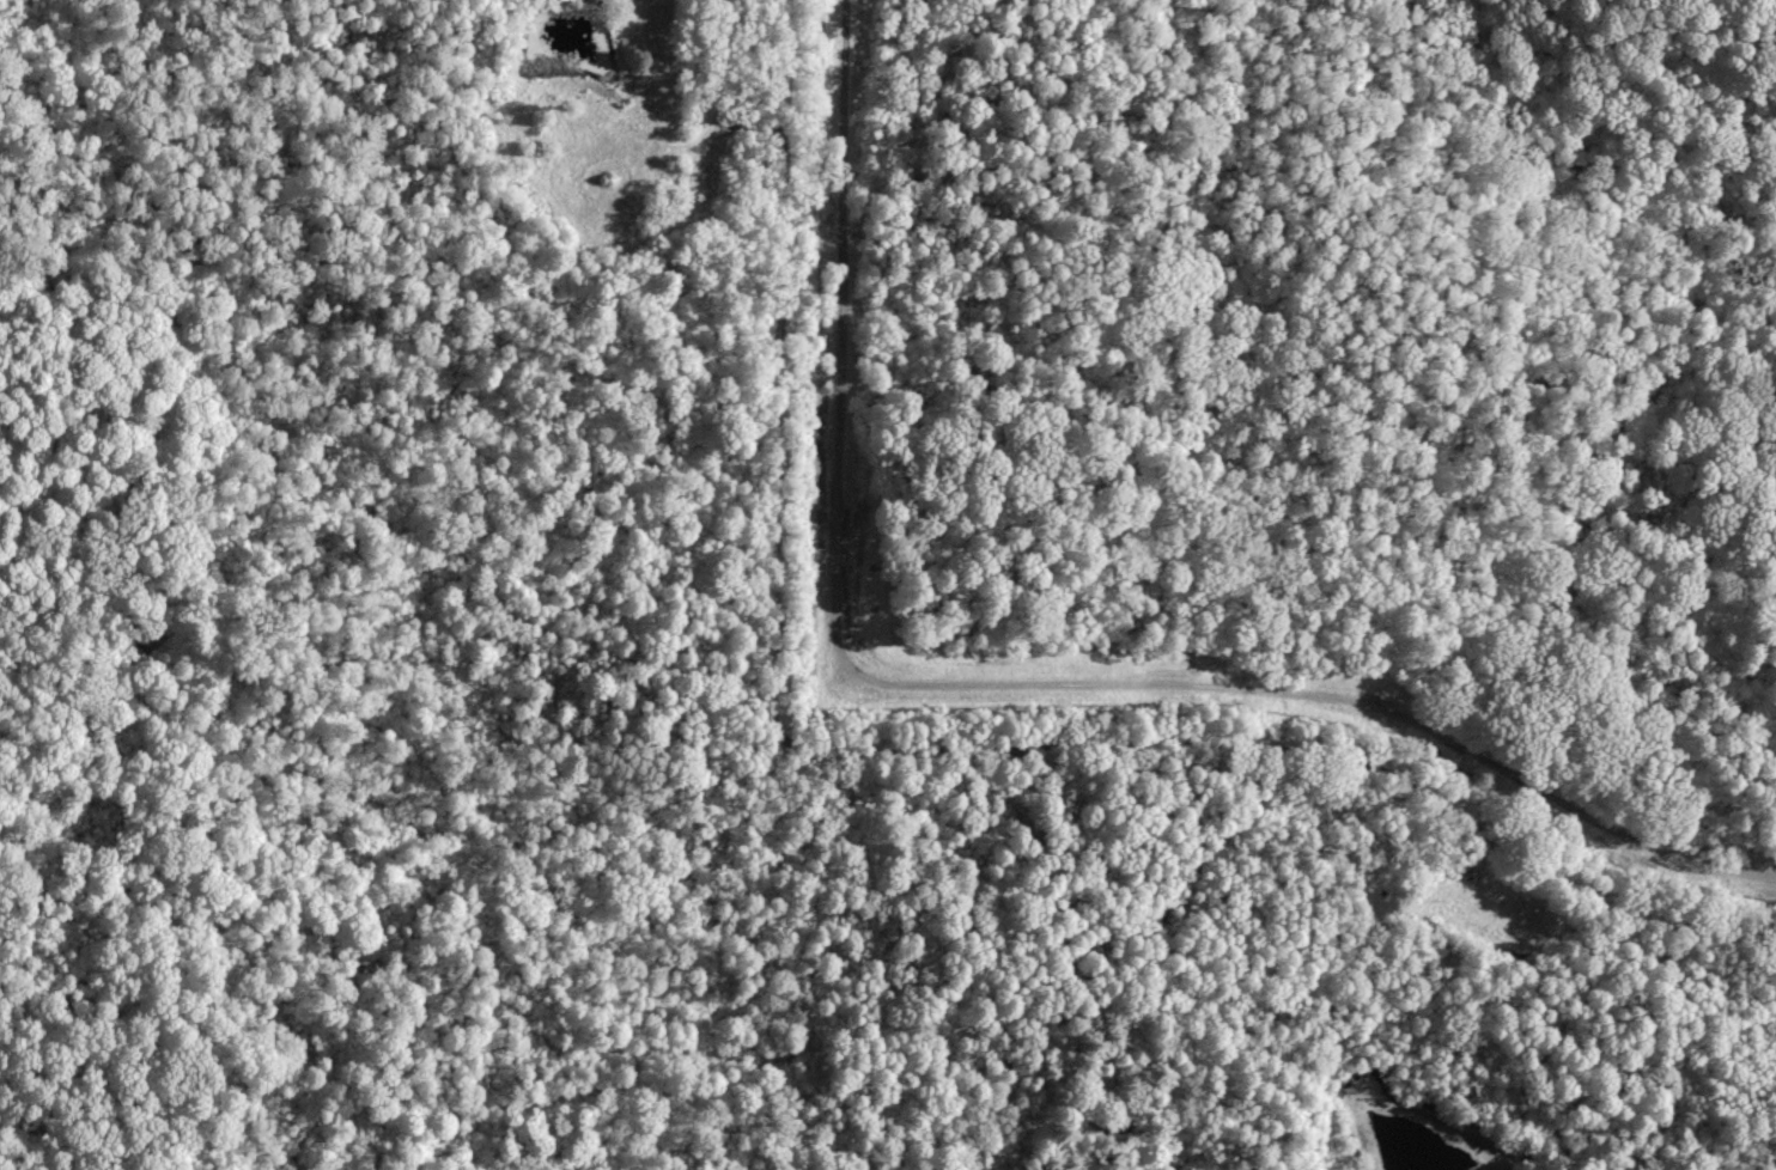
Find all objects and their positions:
road: (991, 687)

